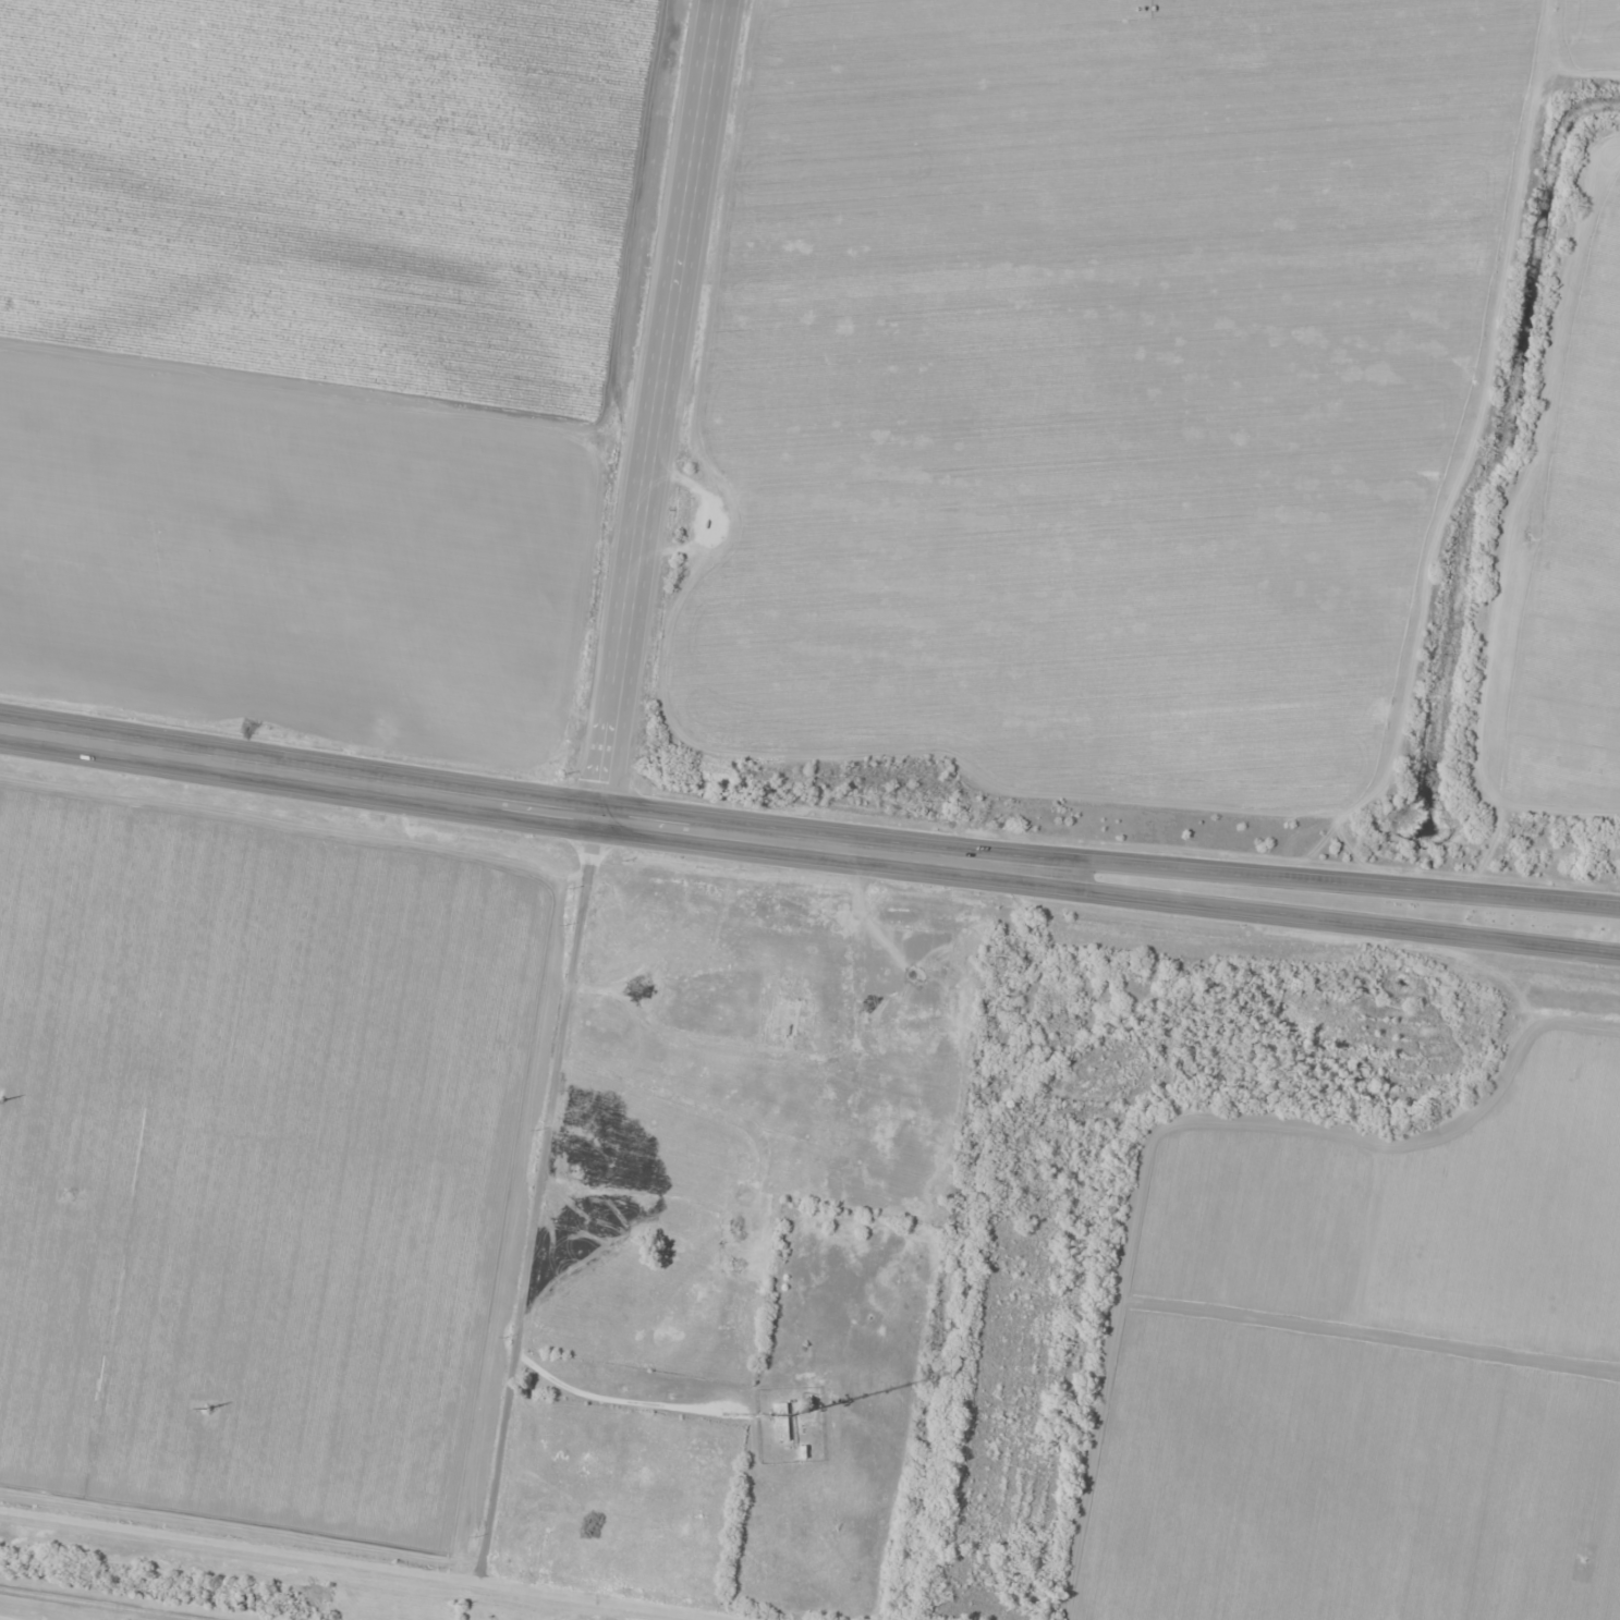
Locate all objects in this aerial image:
road: (653, 407)
road: (418, 791)
road: (1230, 873)
road: (1052, 888)
road: (1444, 934)
building: (790, 1016)
road: (539, 1199)
building: (781, 1422)
road: (367, 1564)
railway: (98, 1604)

